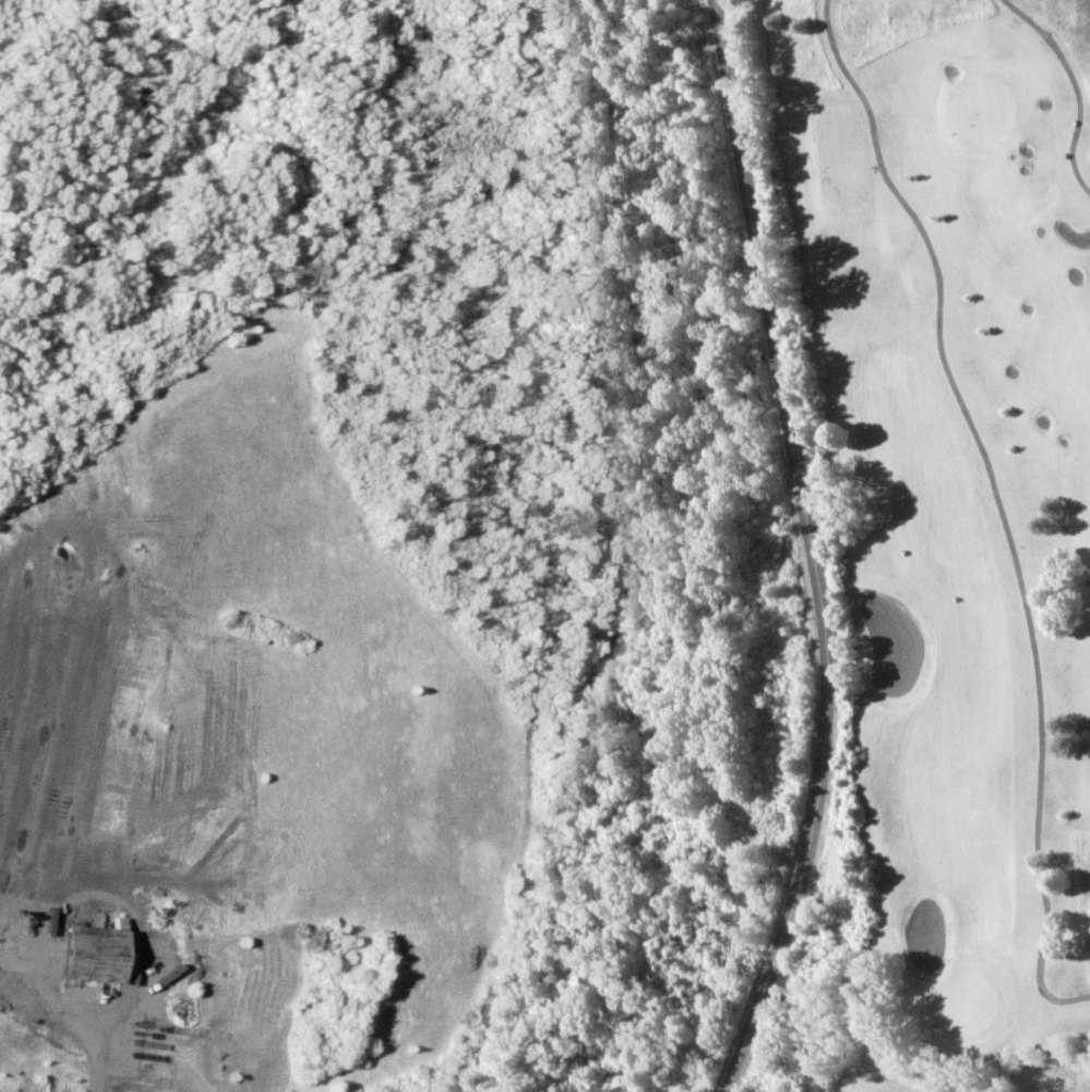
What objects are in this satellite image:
park: (953, 491)
road: (813, 550)
road: (529, 772)
building: (88, 949)
road: (83, 1016)

